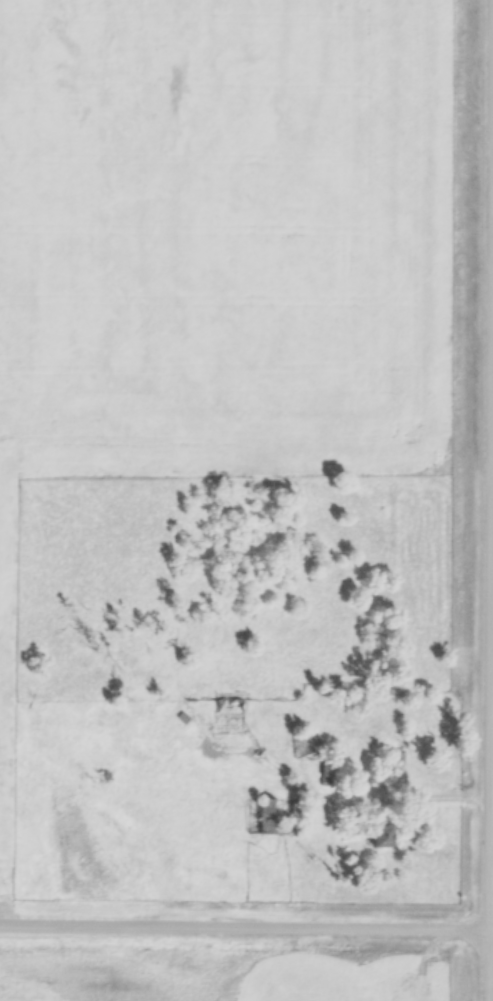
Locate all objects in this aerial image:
building: (302, 747)
building: (326, 774)
road: (418, 797)
building: (265, 818)
building: (382, 835)
road: (485, 909)
road: (246, 925)

